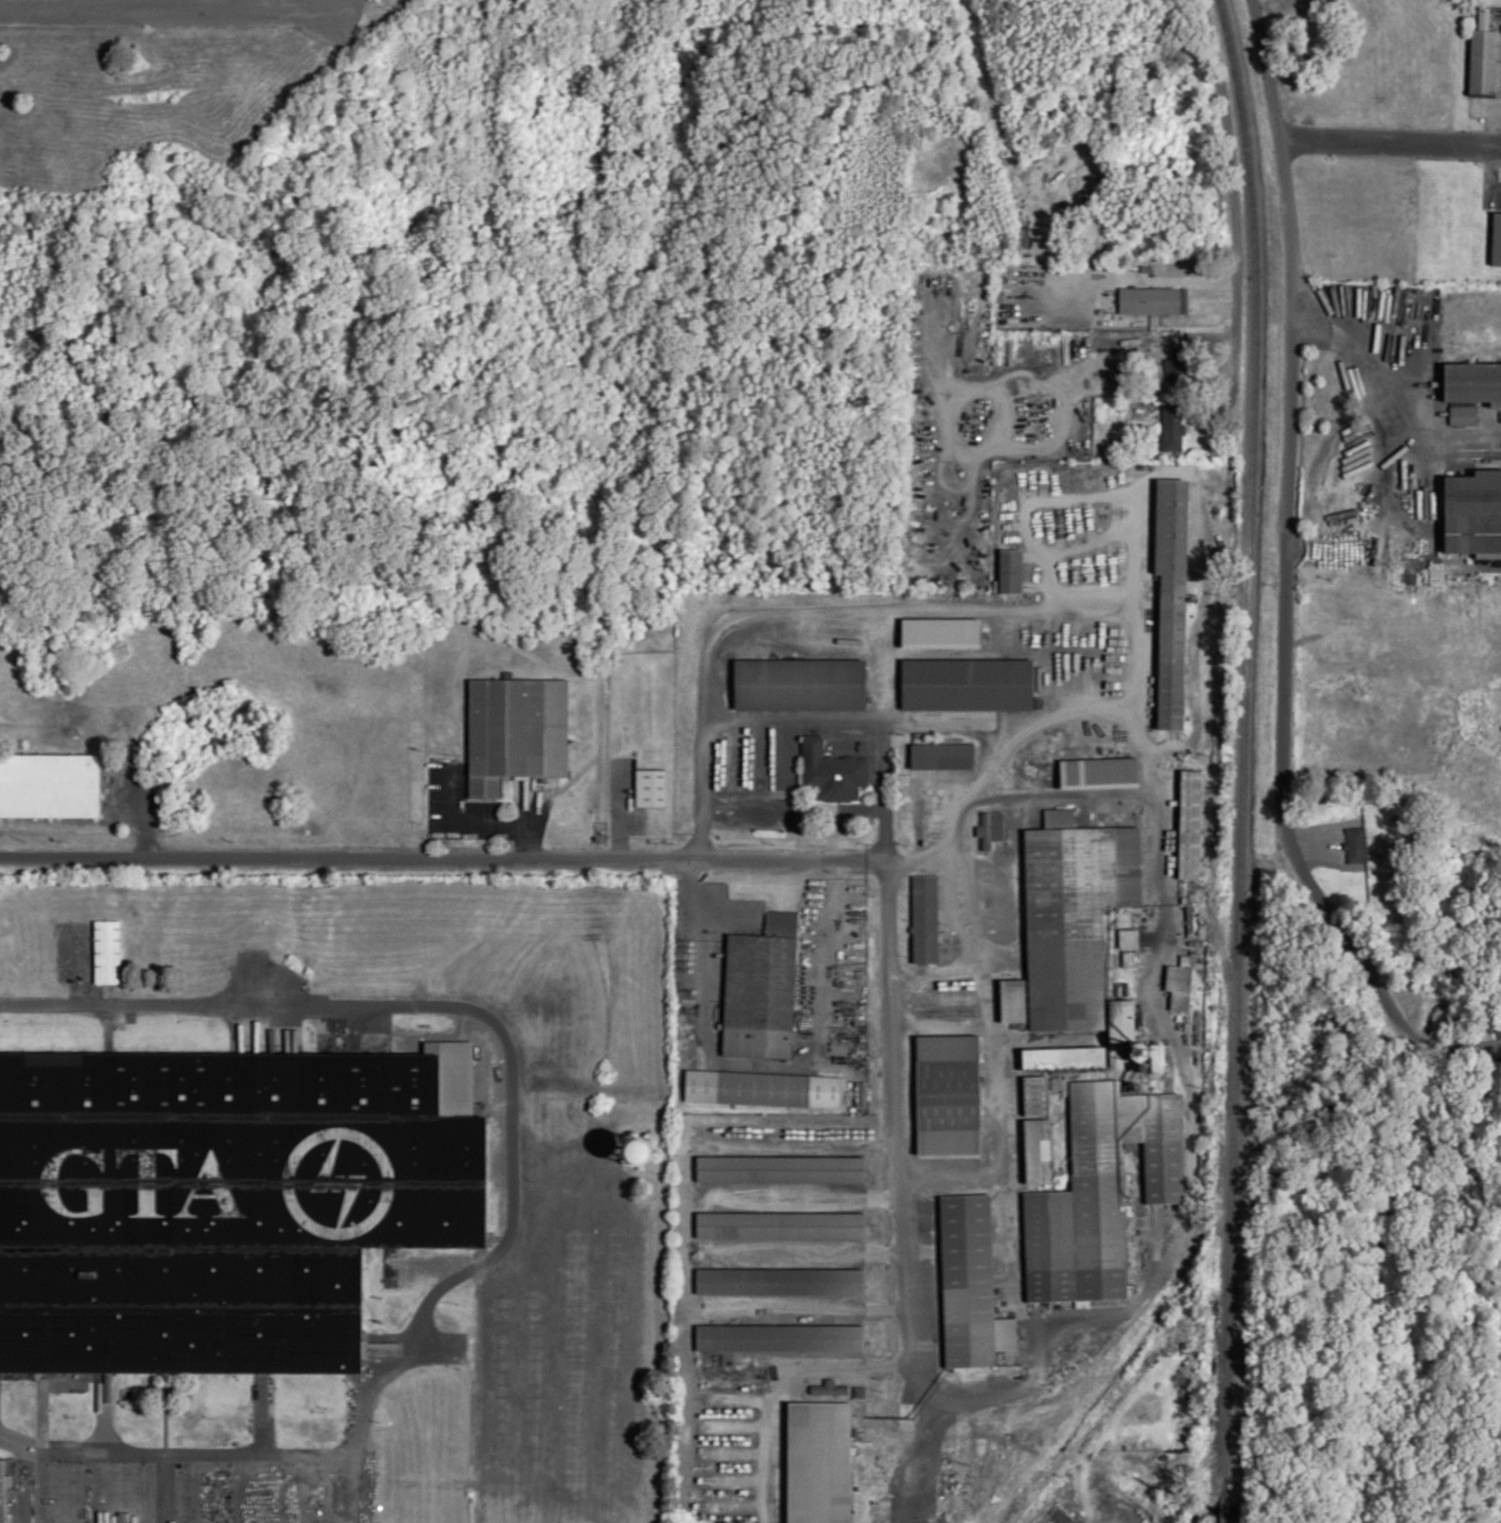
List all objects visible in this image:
road: (237, 4)
road: (165, 9)
building: (1483, 57)
road: (1390, 139)
road: (1238, 224)
building: (1497, 239)
building: (1153, 300)
road: (1068, 301)
building: (1471, 389)
road: (1387, 394)
building: (1173, 427)
road: (1291, 447)
building: (1474, 513)
building: (1011, 570)
building: (1172, 597)
road: (849, 613)
building: (941, 629)
building: (800, 682)
building: (968, 682)
road: (872, 718)
building: (516, 731)
building: (943, 755)
railway: (1245, 760)
building: (1100, 770)
building: (833, 771)
road: (980, 775)
building: (50, 785)
building: (651, 787)
road: (882, 788)
road: (1058, 794)
flagpole: (838, 818)
building: (1193, 824)
building: (992, 828)
building: (1356, 844)
road: (441, 856)
road: (838, 867)
road: (1001, 883)
road: (692, 897)
road: (728, 914)
building: (925, 918)
building: (1129, 938)
road: (963, 945)
building: (1073, 947)
building: (108, 951)
building: (1180, 986)
building: (762, 989)
road: (940, 1001)
road: (1387, 1003)
road: (497, 1021)
road: (941, 1022)
road: (791, 1063)
building: (763, 1088)
building: (949, 1094)
road: (994, 1100)
building: (642, 1150)
building: (1038, 1150)
water tower: (632, 1159)
building: (781, 1169)
building: (1100, 1192)
road: (802, 1195)
building: (218, 1204)
building: (781, 1226)
road: (806, 1249)
building: (781, 1283)
building: (971, 1284)
street lamp: (458, 1302)
road: (806, 1305)
building: (781, 1335)
road: (1083, 1346)
road: (817, 1359)
street lamp: (459, 1365)
building: (830, 1388)
road: (78, 1448)
road: (242, 1450)
building: (820, 1462)
street lamp: (188, 1463)
street lamp: (94, 1464)
street lamp: (281, 1464)
road: (28, 1468)
road: (162, 1487)
road: (355, 1488)
building: (1, 1490)

